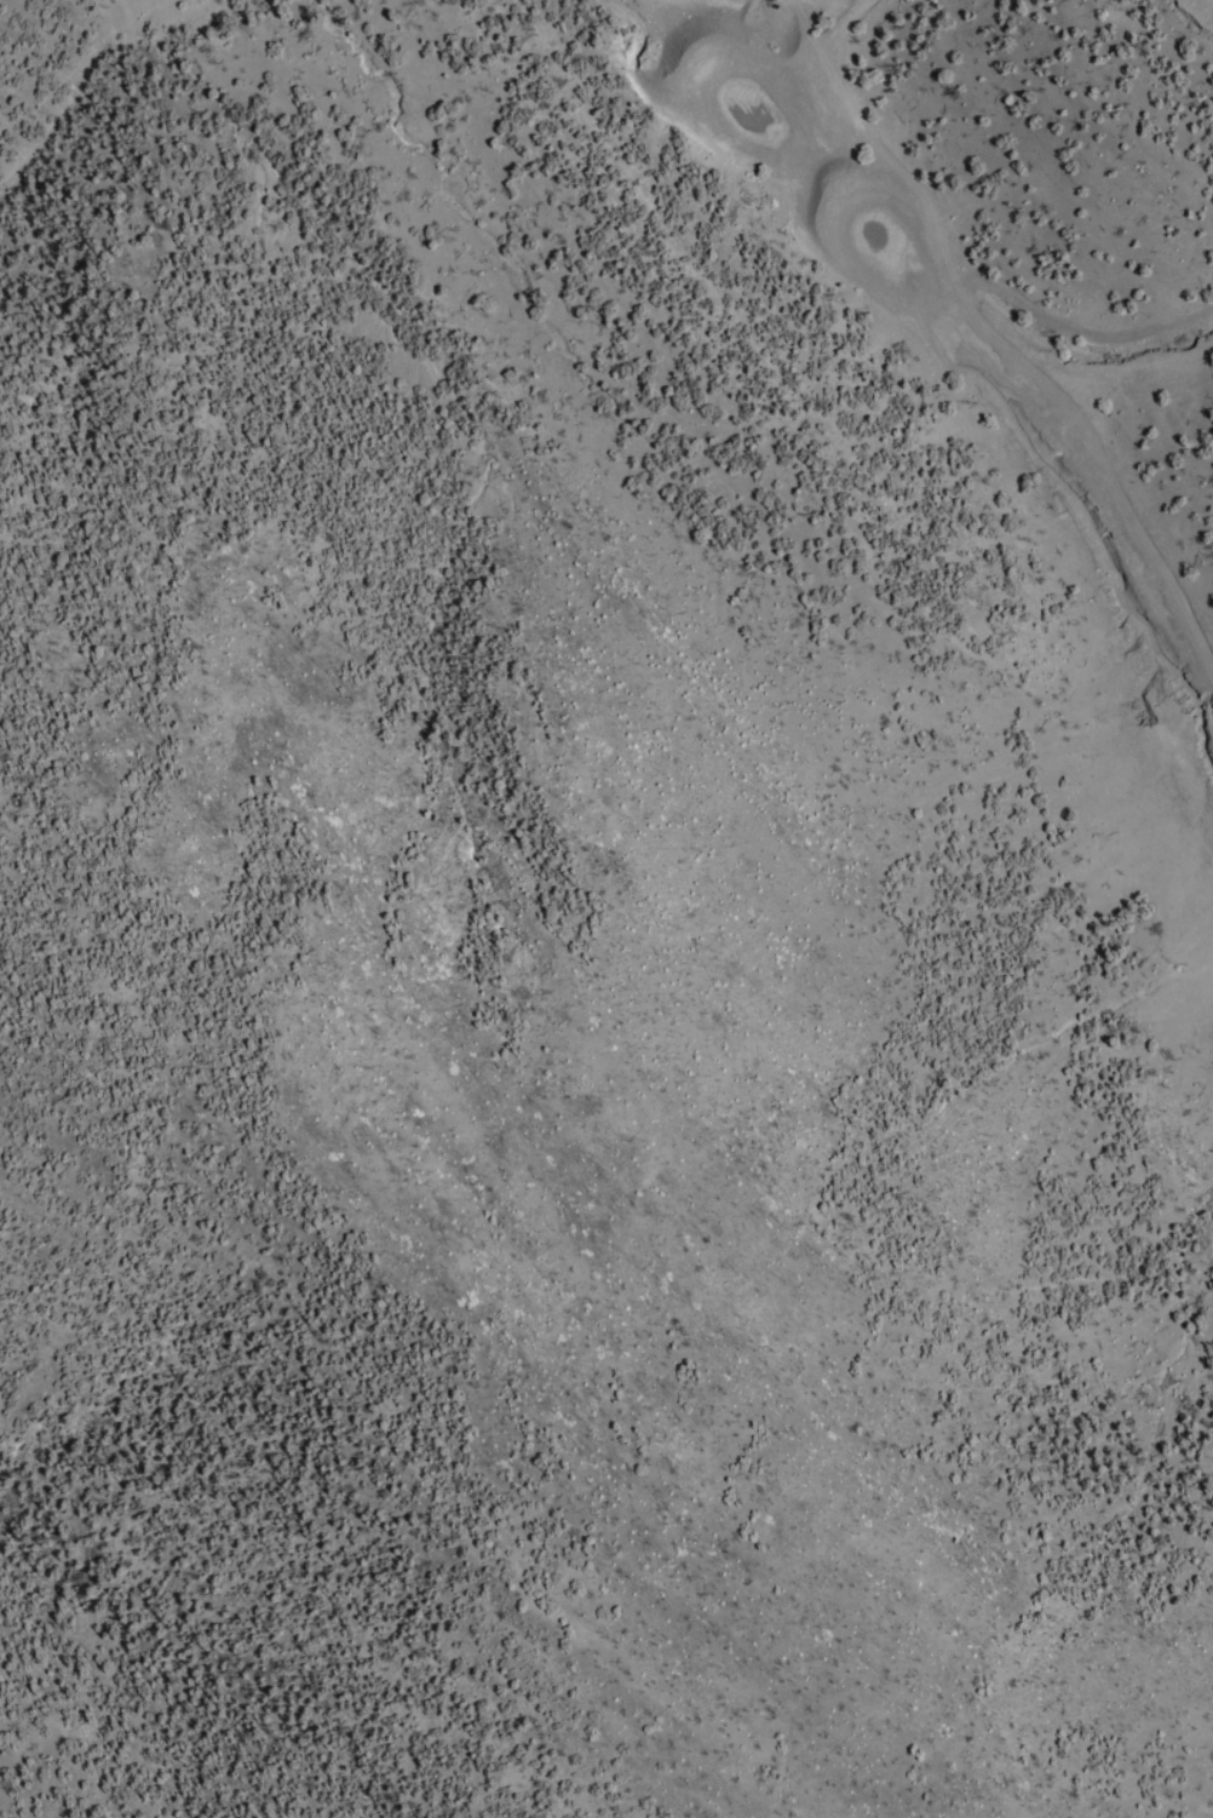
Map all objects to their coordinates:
road: (858, 121)
road: (1064, 331)

